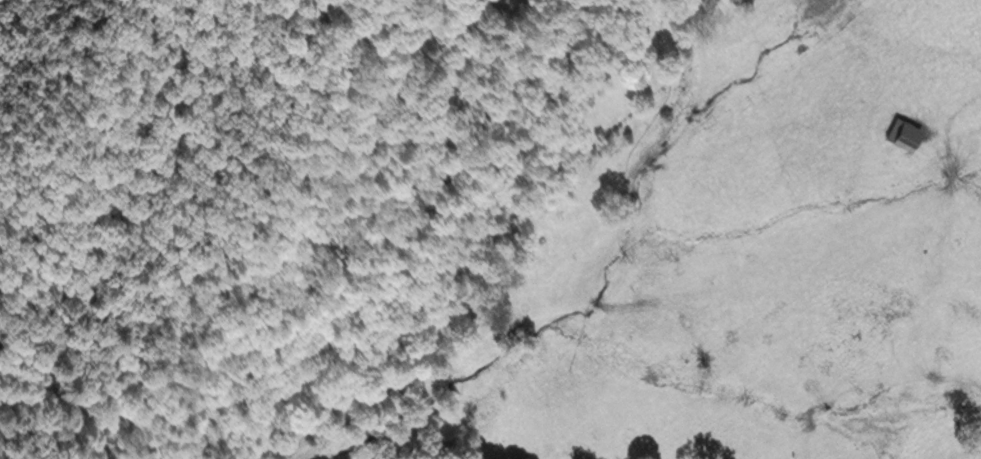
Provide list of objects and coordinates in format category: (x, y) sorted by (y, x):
road: (954, 113)
building: (905, 133)

